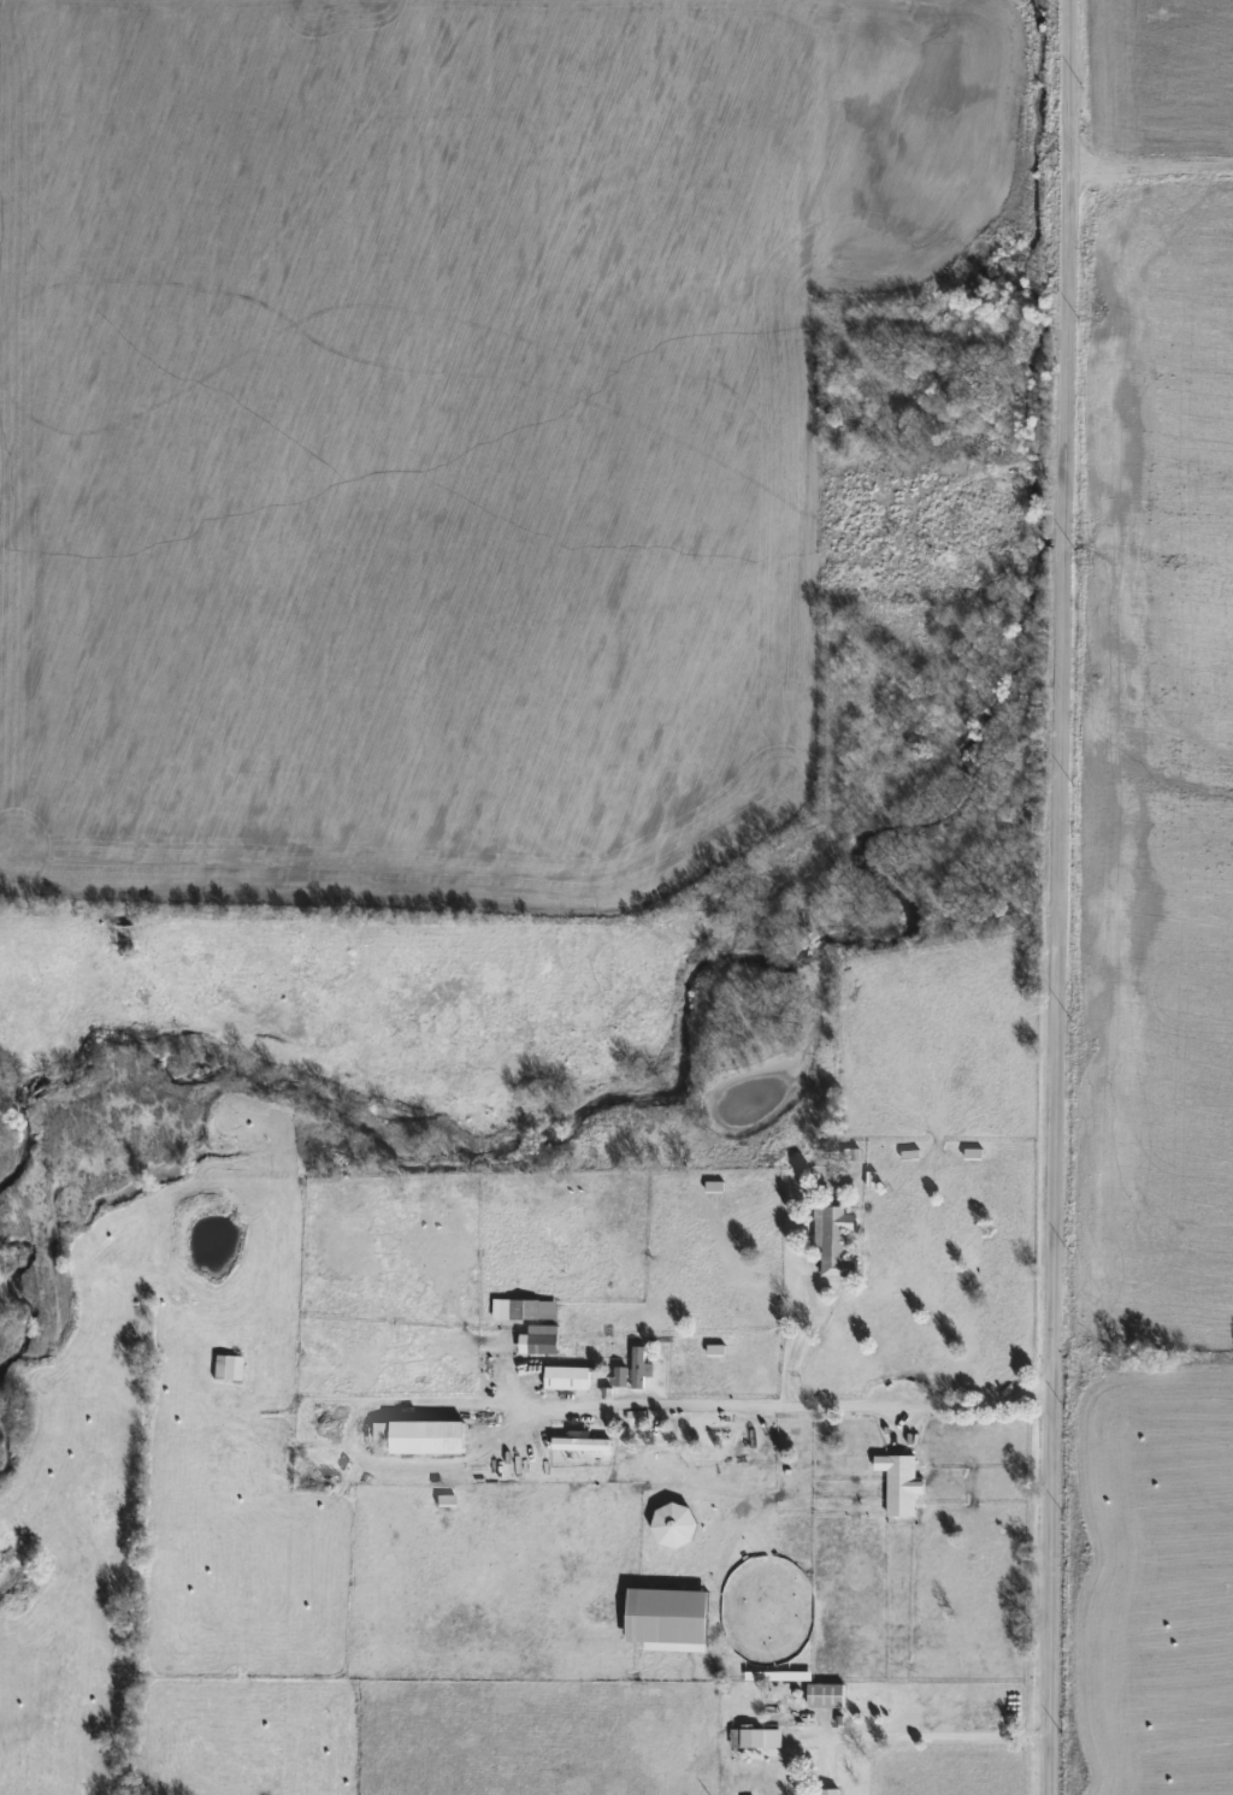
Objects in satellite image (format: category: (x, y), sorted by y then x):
road: (1150, 172)
road: (535, 246)
road: (1057, 897)
building: (122, 937)
building: (834, 1241)
building: (524, 1310)
building: (539, 1340)
road: (789, 1352)
building: (228, 1368)
building: (619, 1376)
building: (567, 1378)
road: (689, 1406)
building: (421, 1436)
building: (582, 1445)
building: (899, 1483)
building: (674, 1527)
building: (668, 1619)
building: (826, 1695)
road: (934, 1735)
building: (753, 1738)

